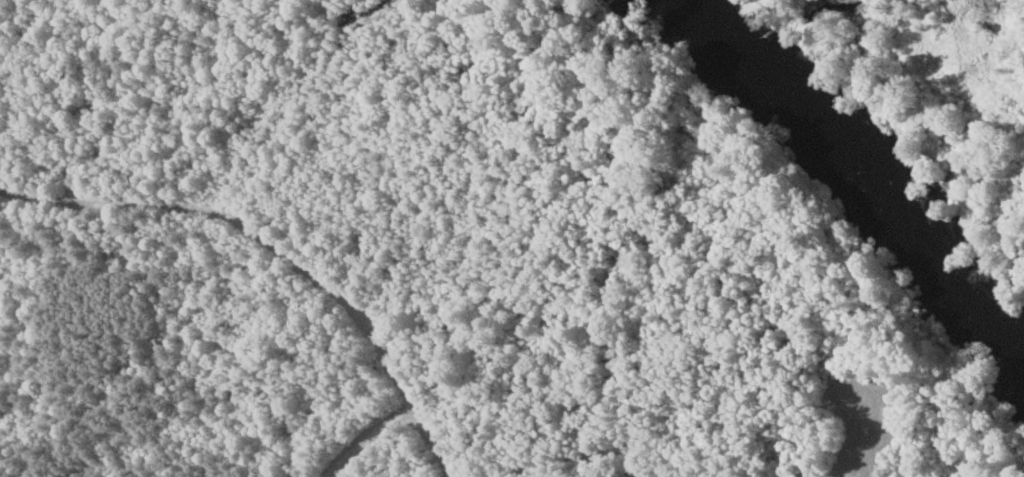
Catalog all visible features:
river: (863, 171)

